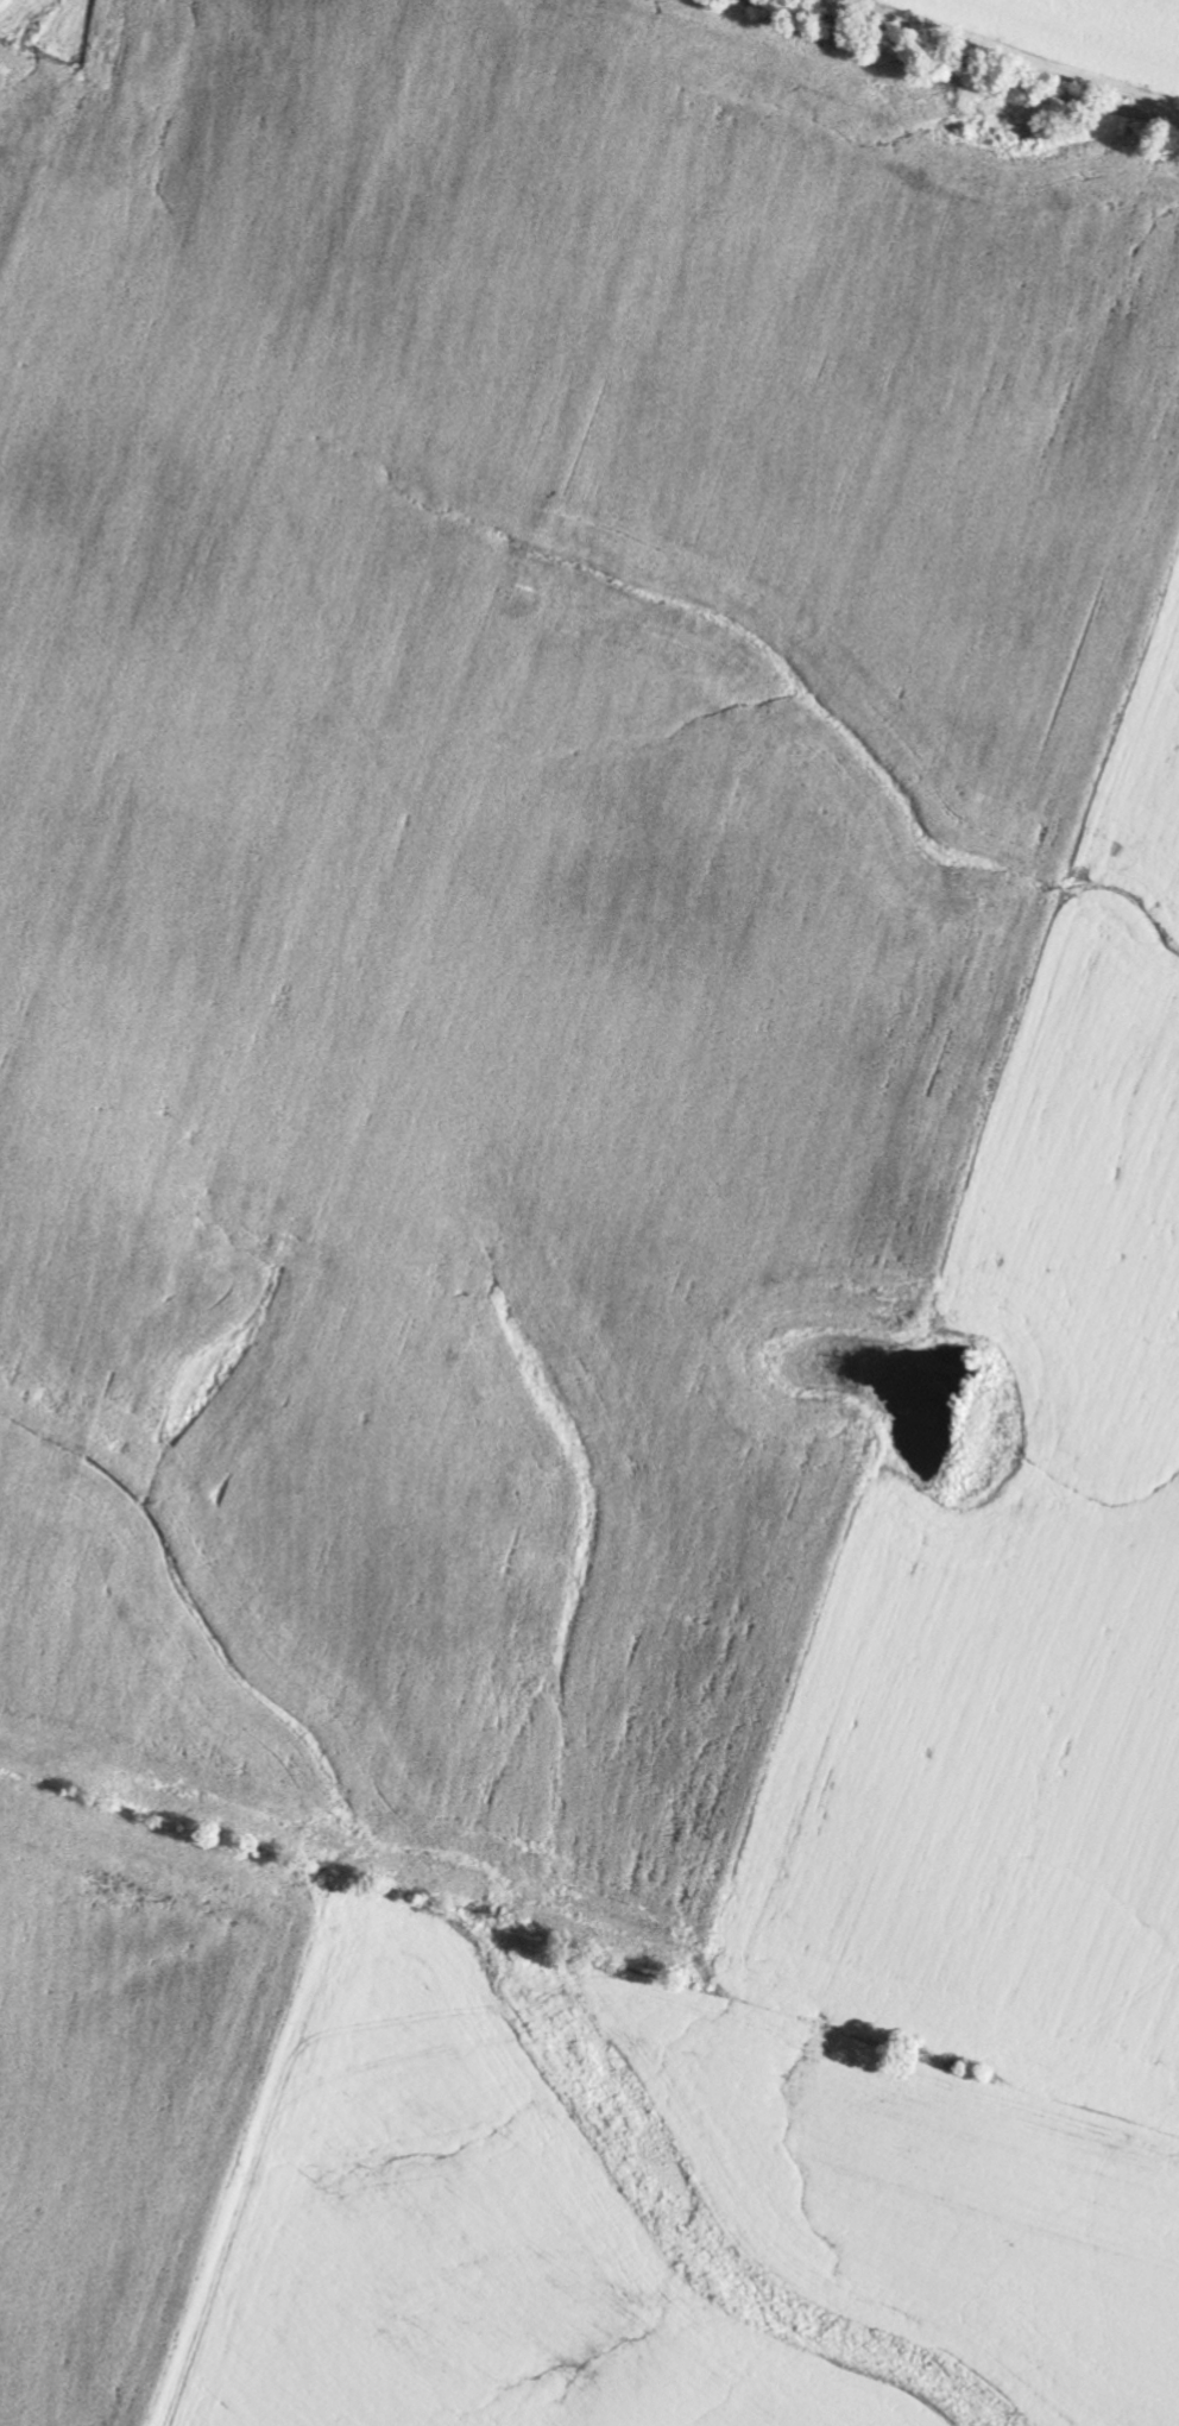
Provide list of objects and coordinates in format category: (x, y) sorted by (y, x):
road: (969, 61)

